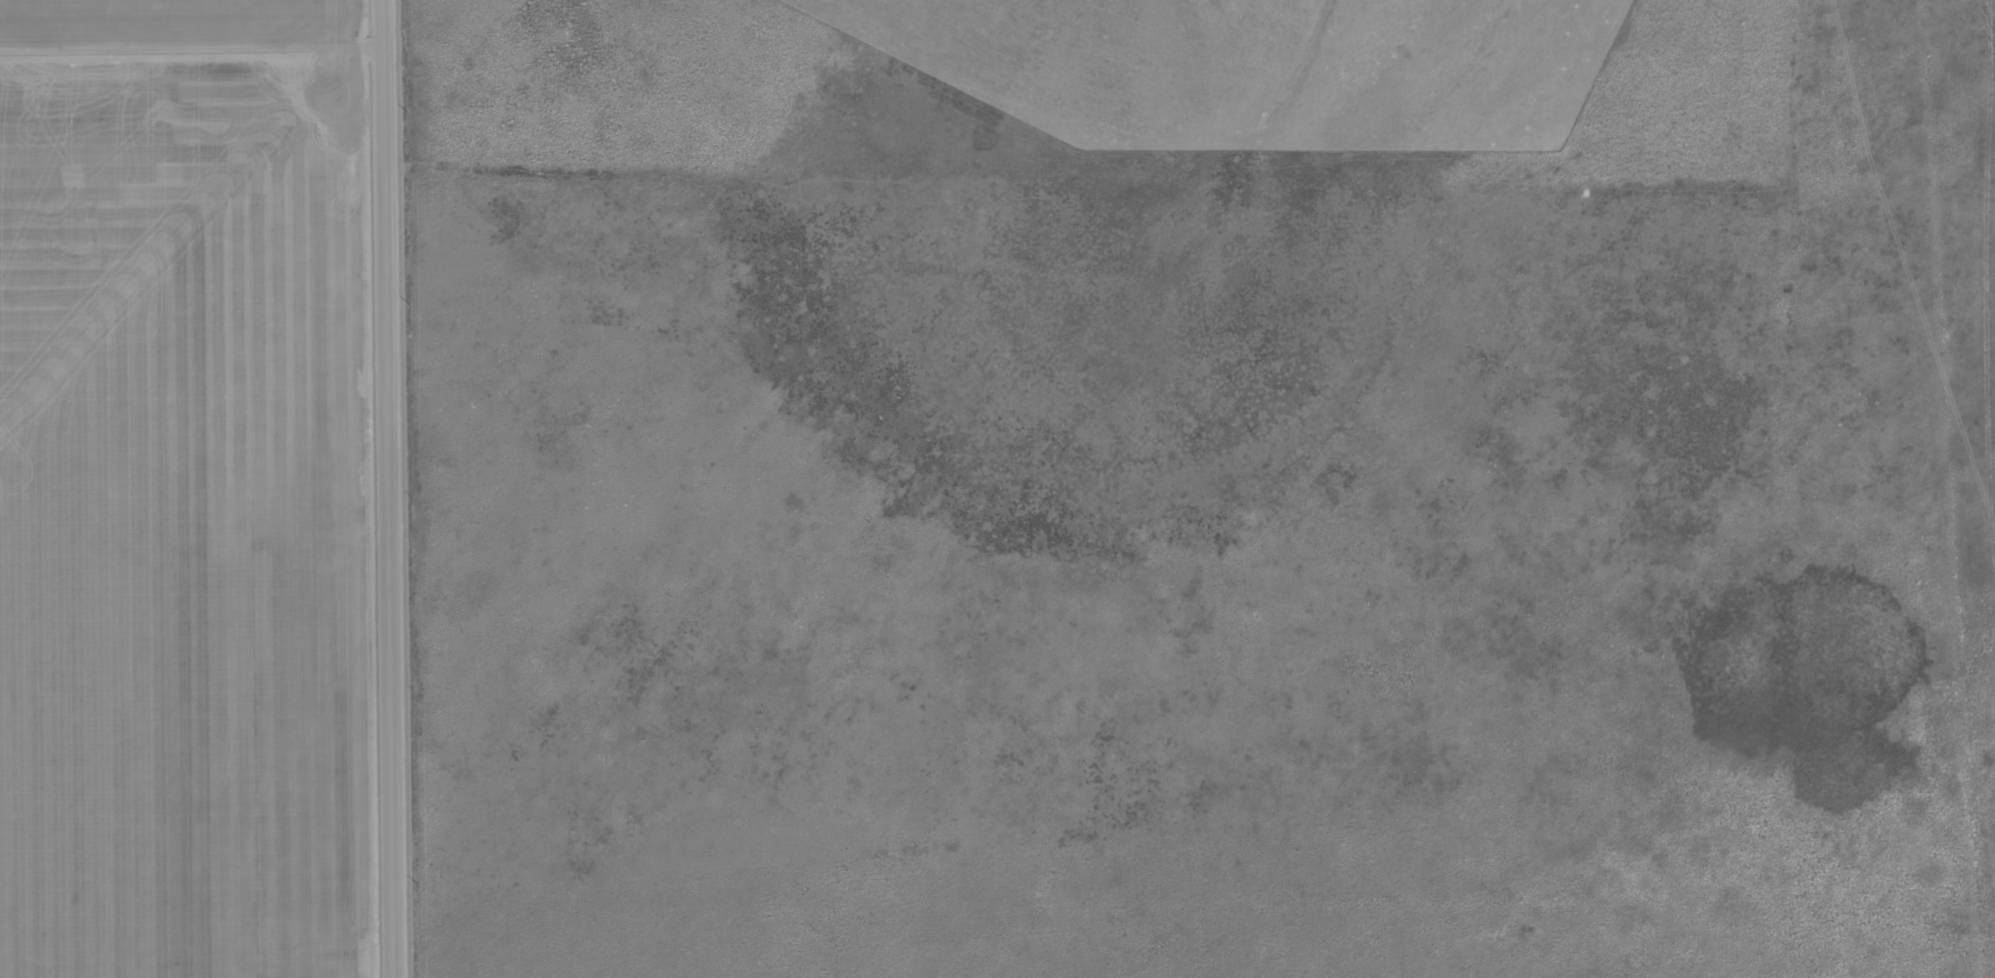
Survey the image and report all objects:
road: (191, 79)
road: (390, 488)

